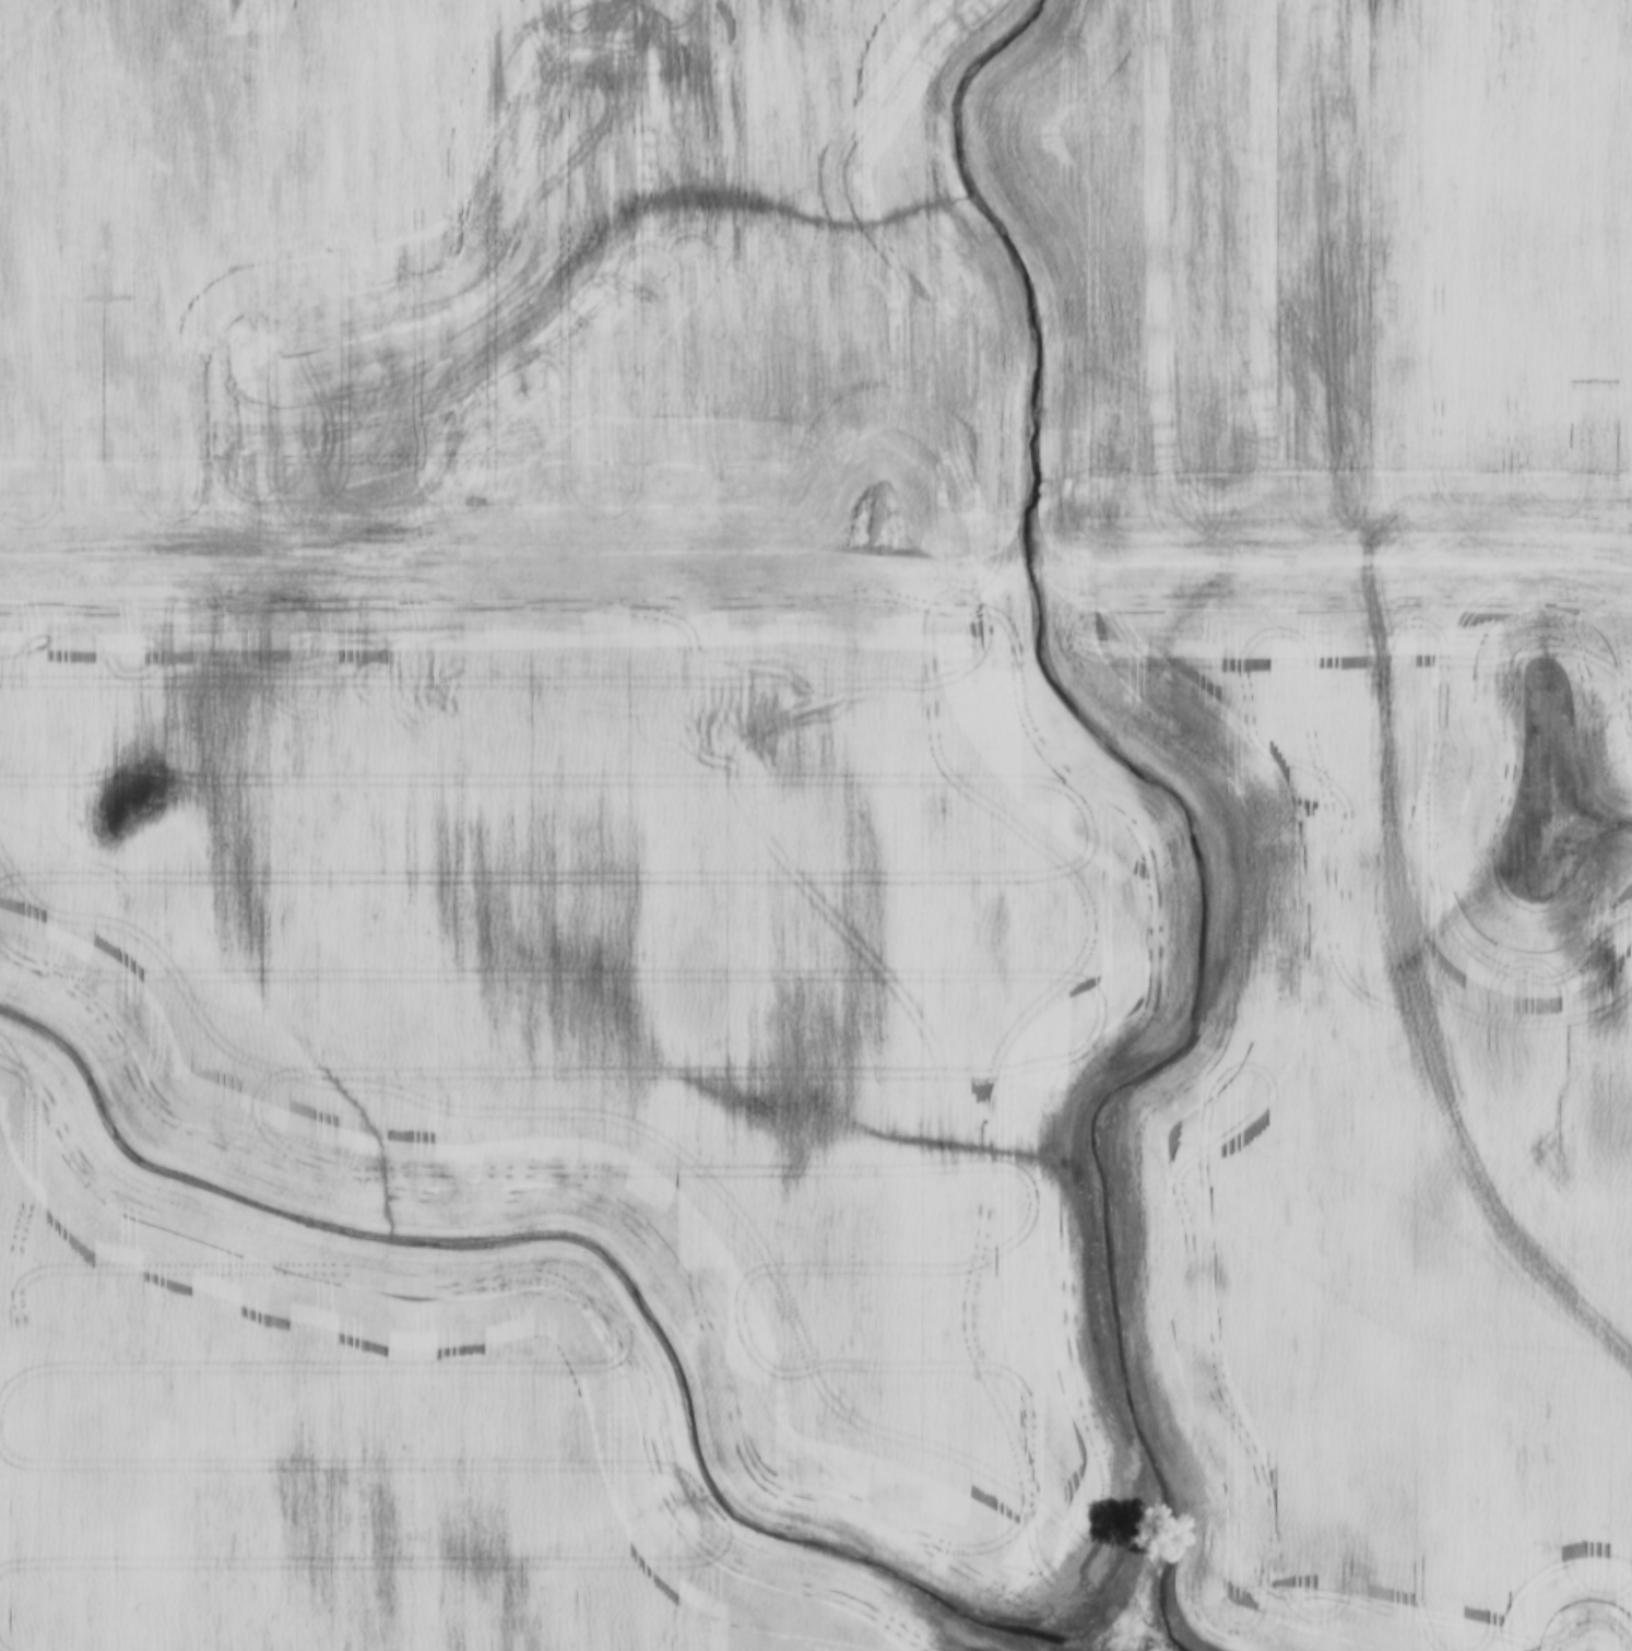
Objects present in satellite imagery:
road: (821, 468)

